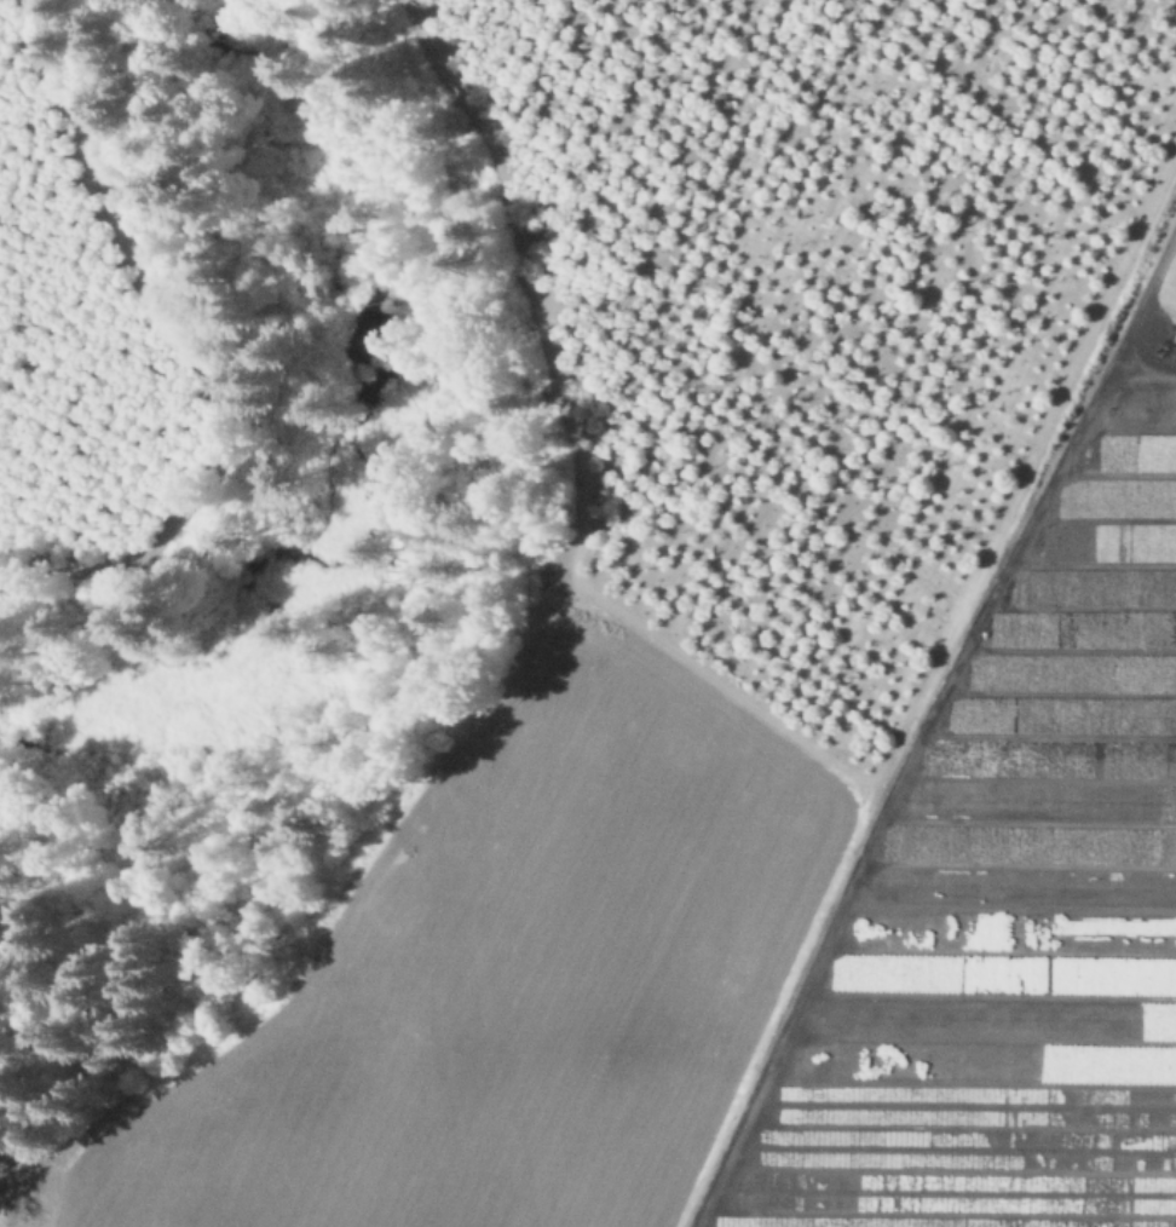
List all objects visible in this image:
road: (924, 727)

